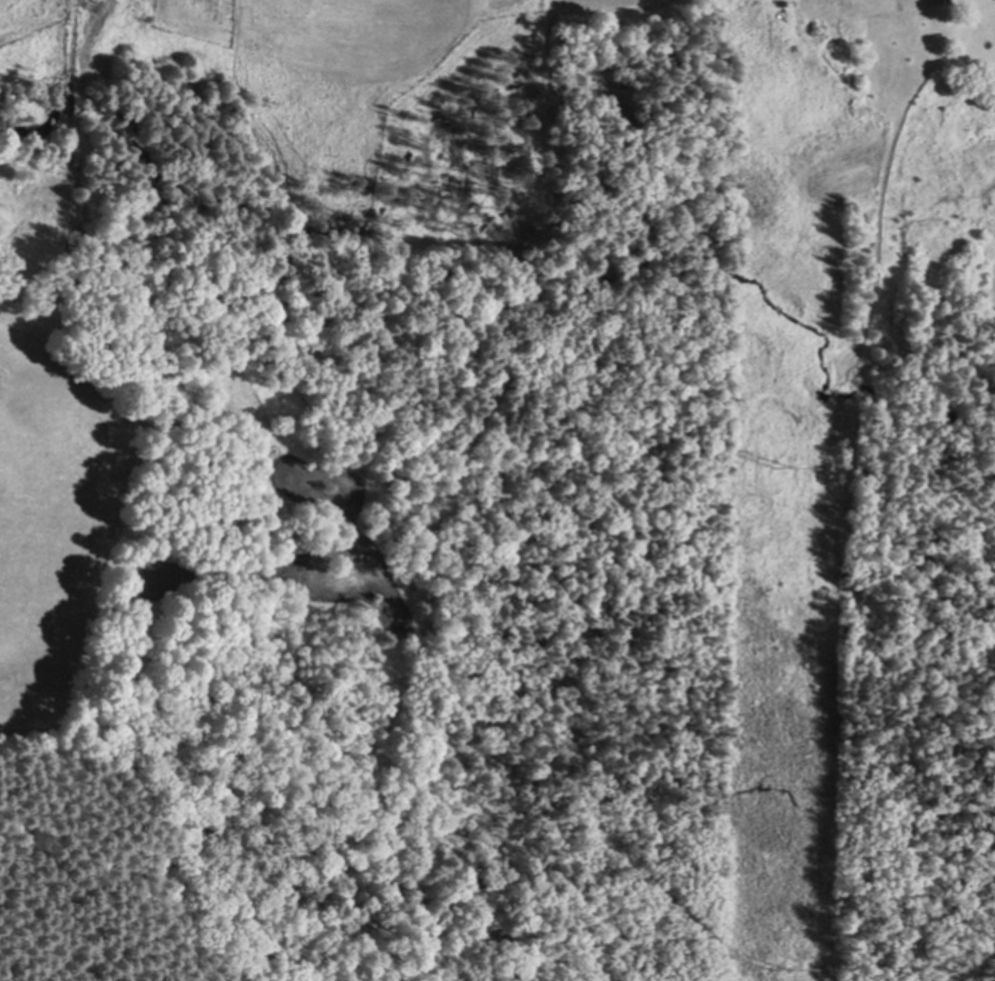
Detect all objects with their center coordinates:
building: (923, 3)
power tower: (783, 465)
power tower: (778, 966)

